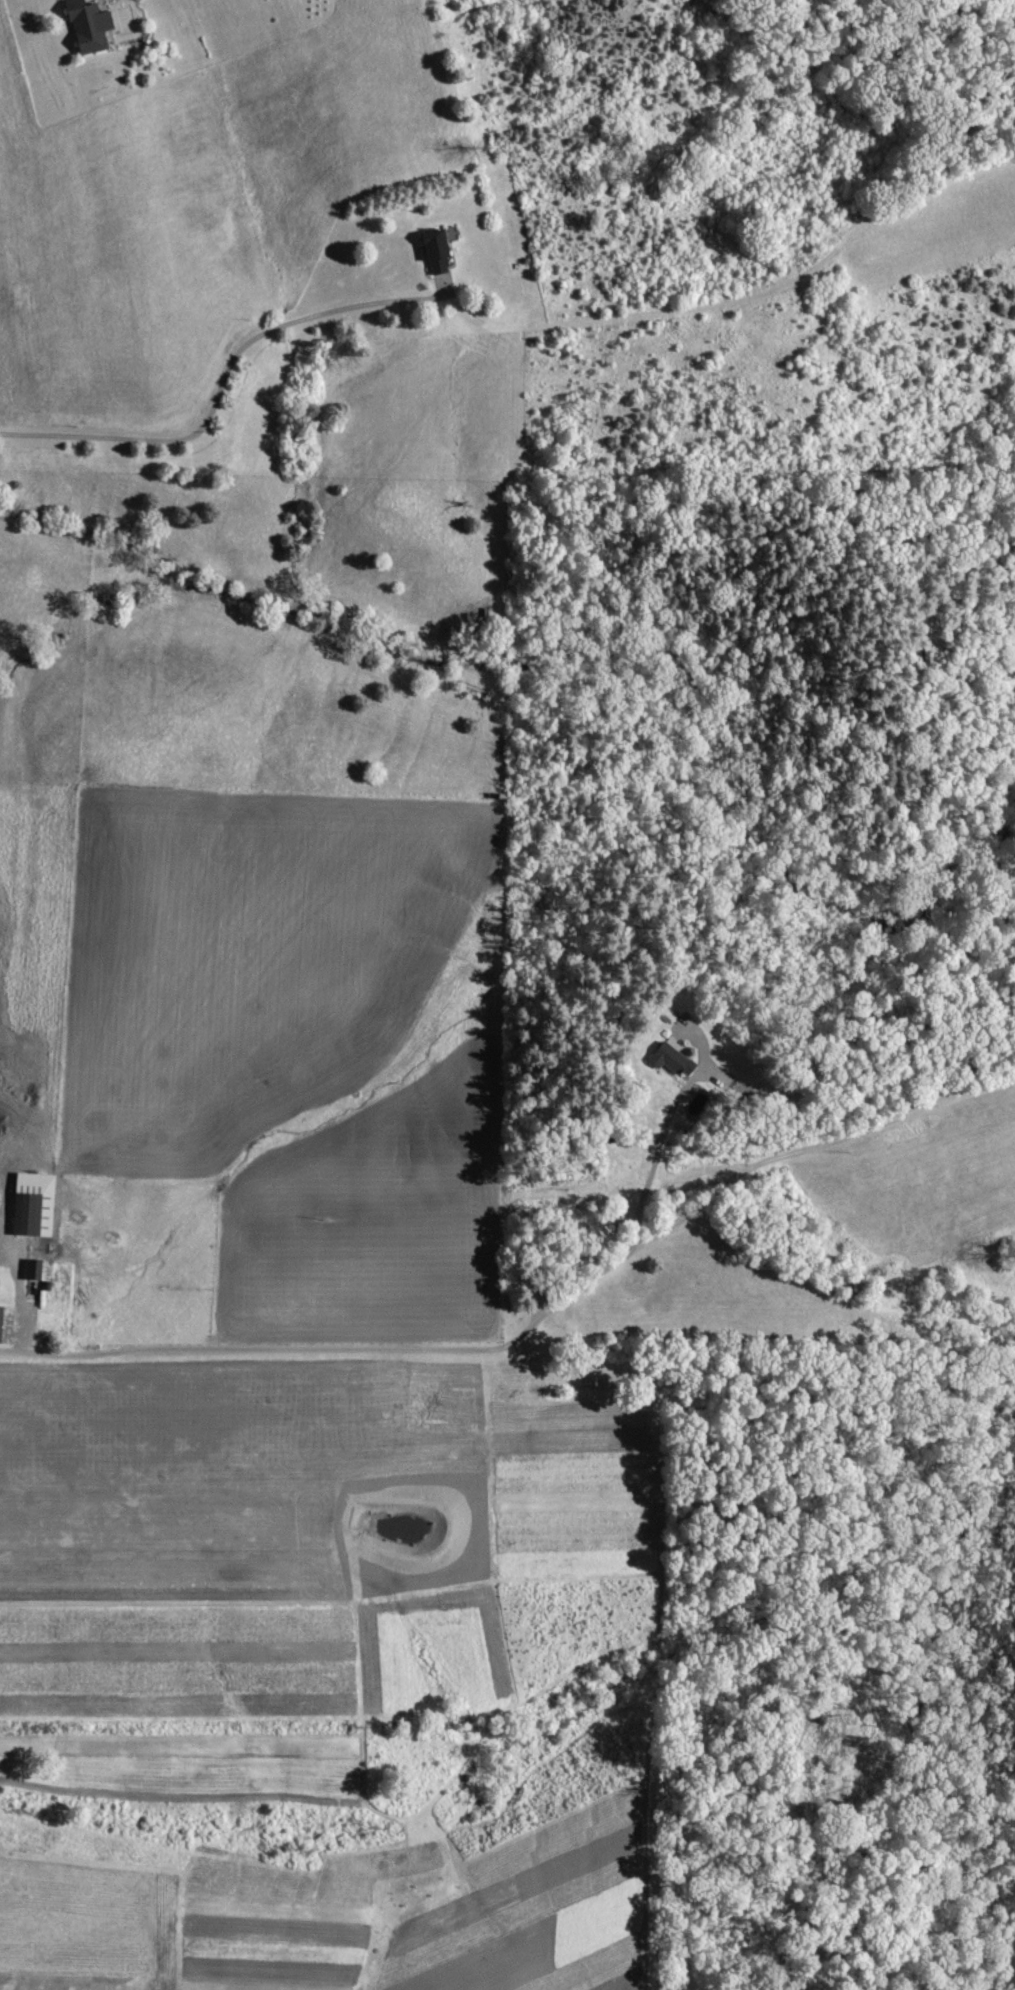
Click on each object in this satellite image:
building: (94, 26)
building: (434, 246)
road: (219, 379)
building: (666, 1058)
road: (654, 1155)
building: (38, 1205)
building: (42, 1270)
road: (18, 1298)
road: (536, 1322)

